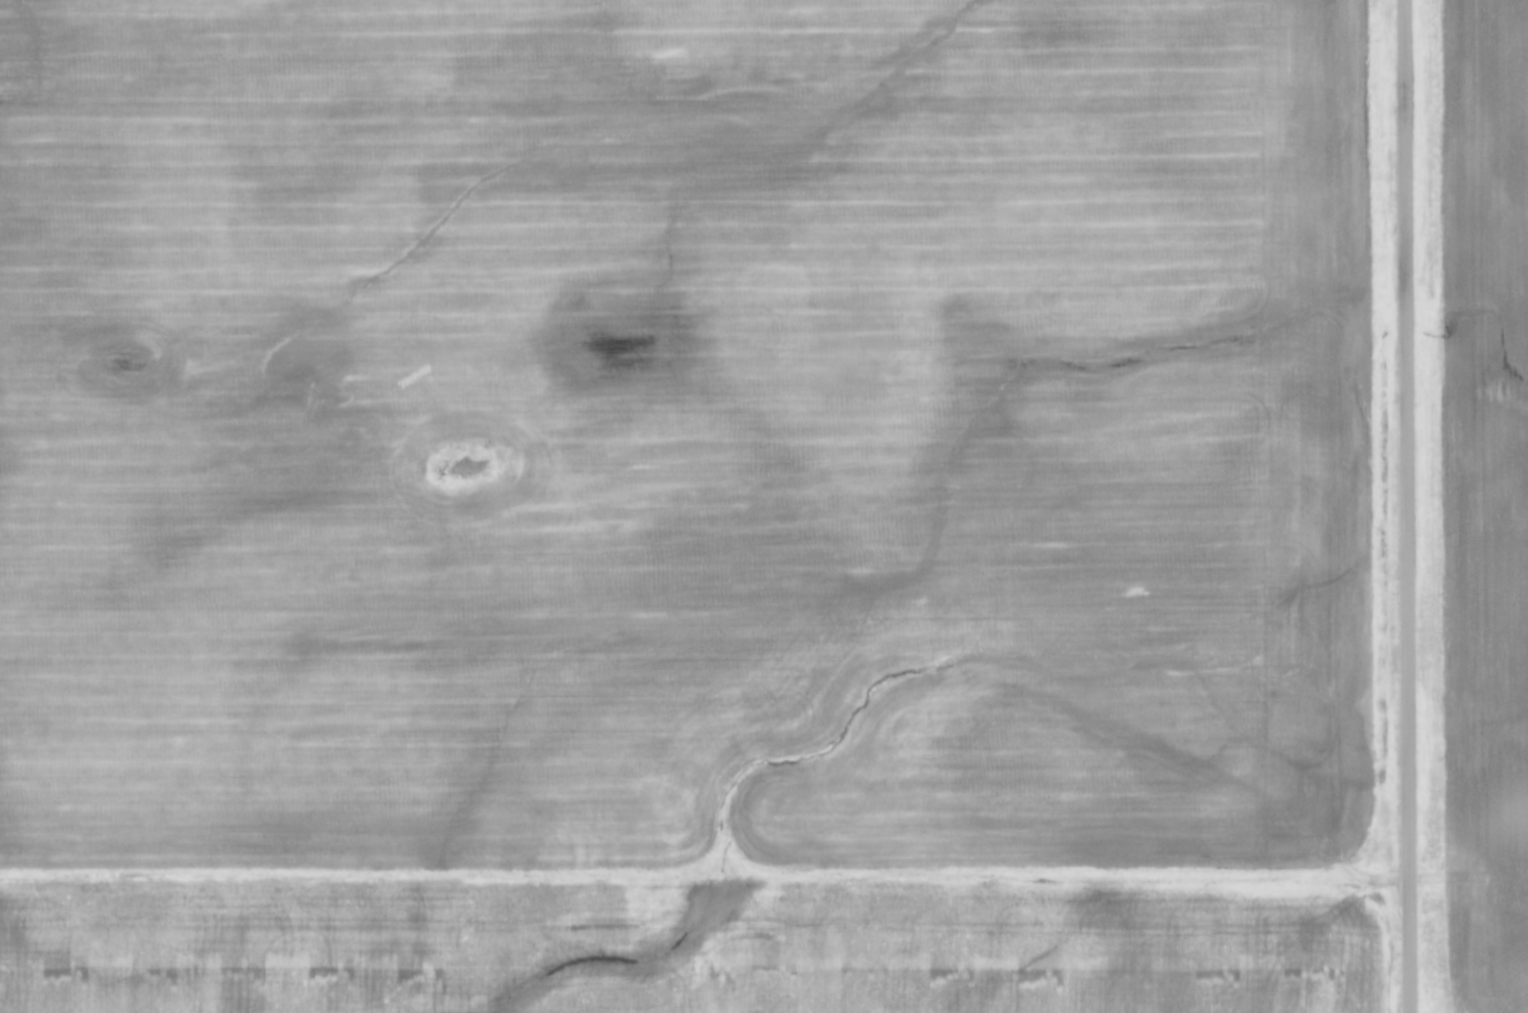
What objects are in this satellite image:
road: (1407, 506)

